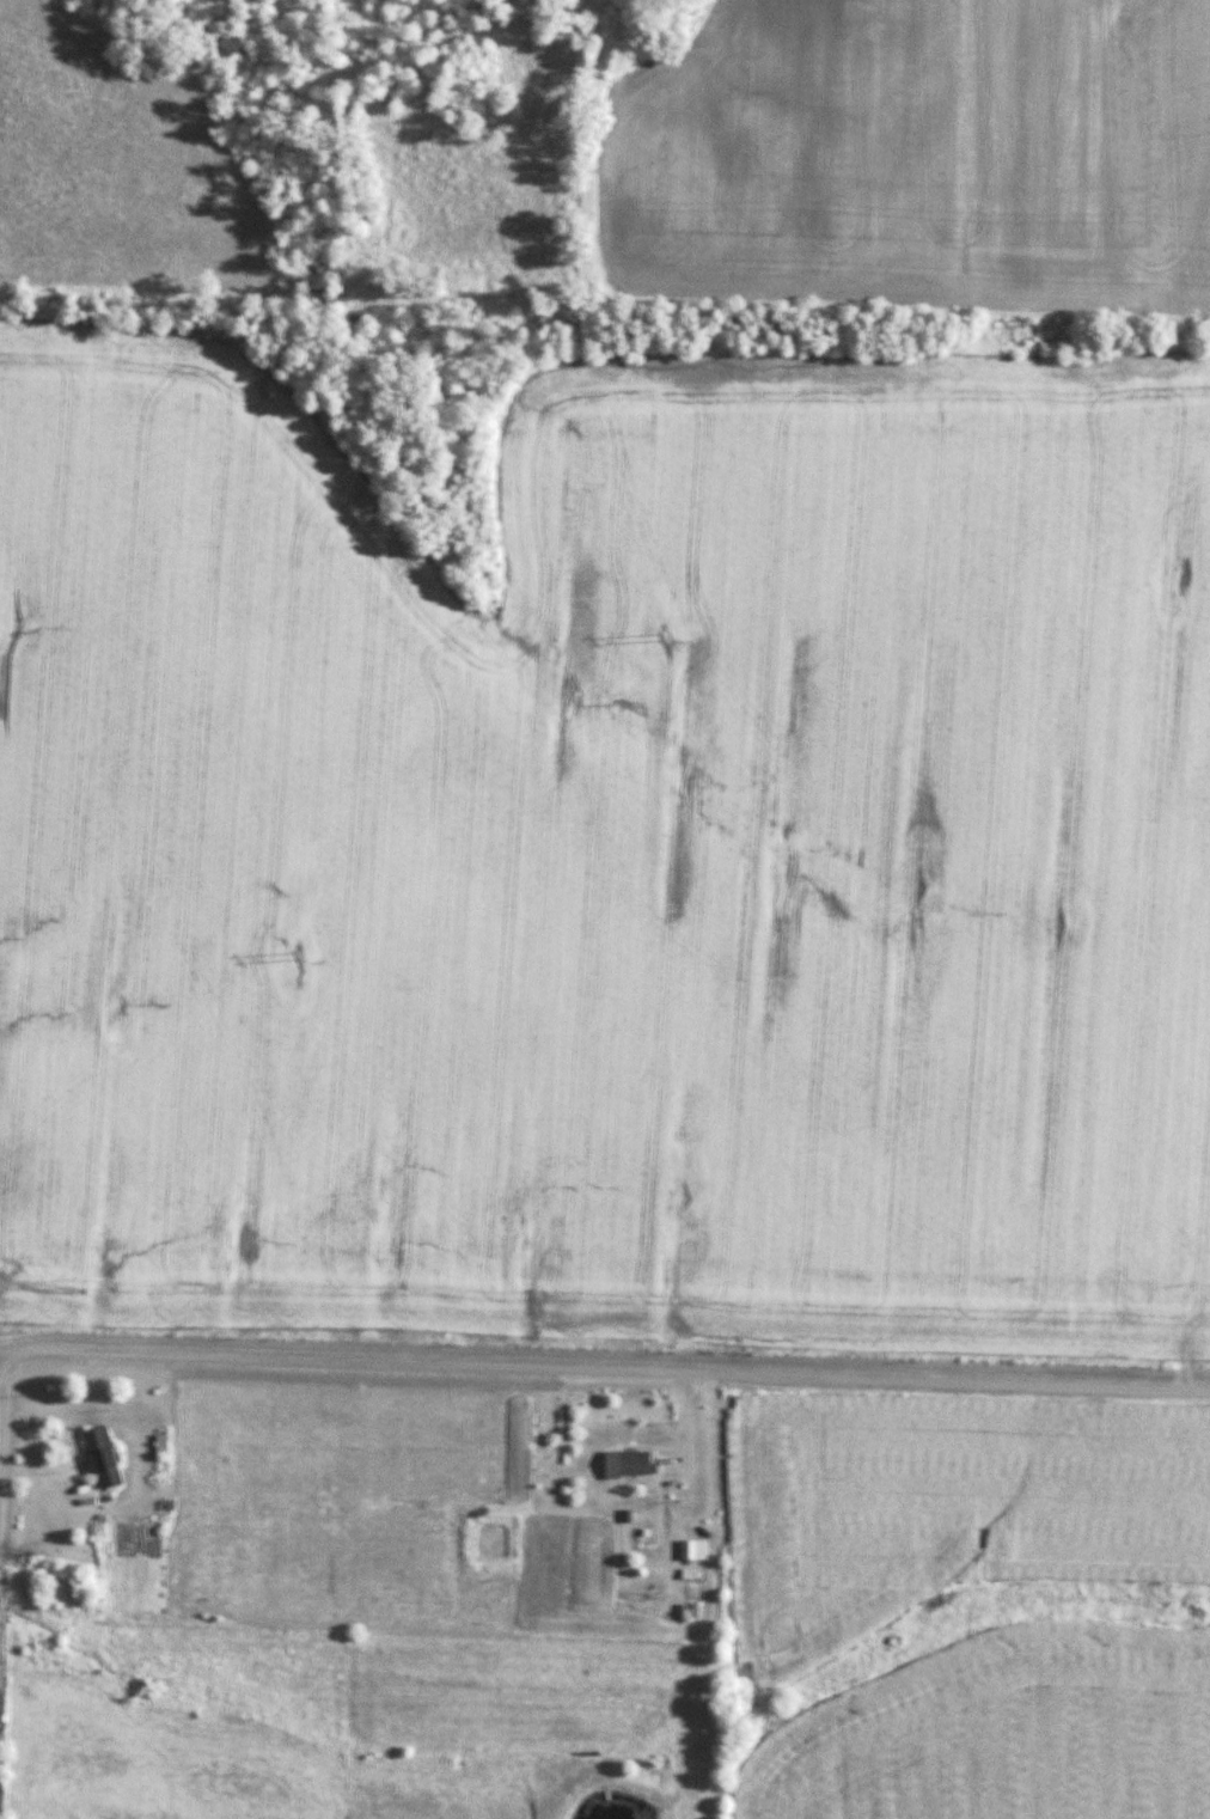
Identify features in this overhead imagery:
road: (0, 1351)
road: (605, 1372)
road: (0, 1373)
building: (100, 1455)
building: (628, 1463)
road: (691, 1475)
building: (693, 1549)

